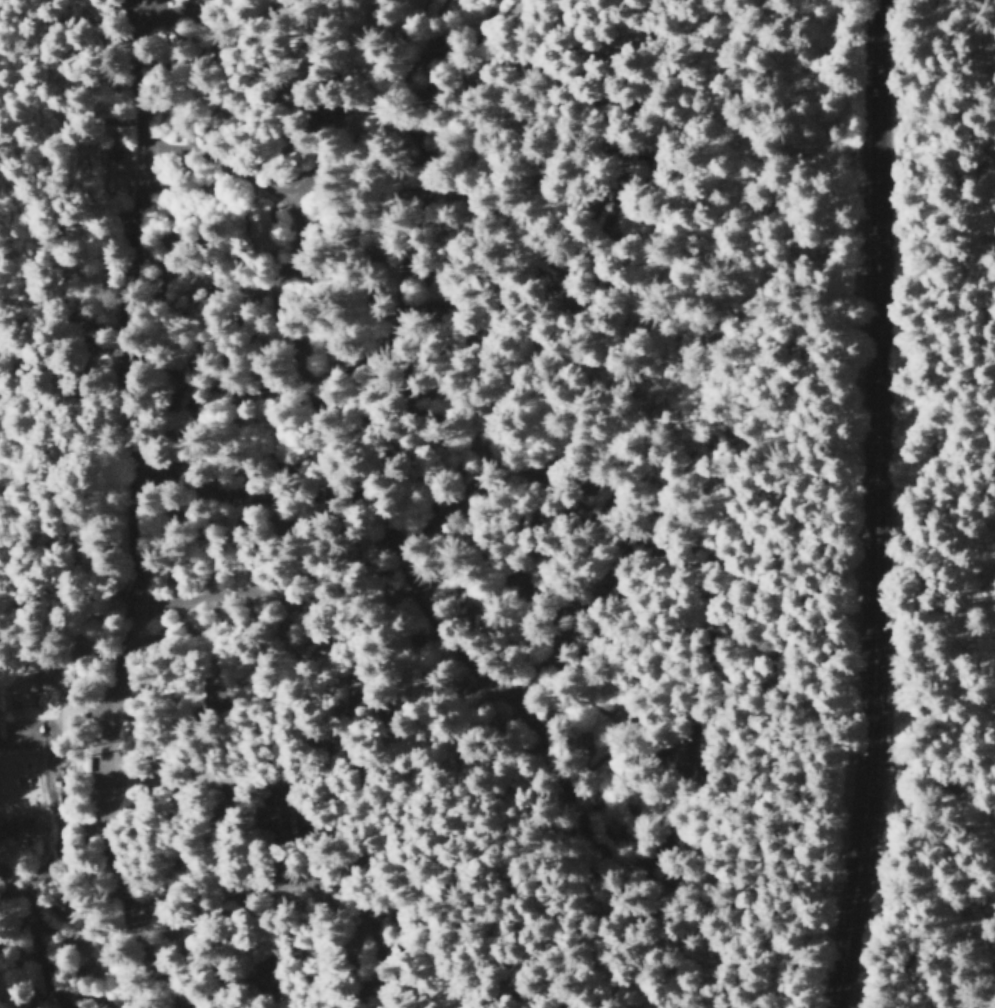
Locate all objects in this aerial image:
parking lot: (195, 1)
road: (222, 1)
road: (190, 18)
road: (389, 18)
road: (487, 23)
road: (276, 58)
road: (356, 92)
building: (108, 152)
road: (344, 160)
road: (249, 168)
road: (435, 186)
road: (589, 192)
parking lot: (140, 224)
building: (258, 225)
road: (143, 248)
road: (377, 259)
road: (244, 283)
road: (257, 392)
road: (380, 457)
road: (868, 505)
road: (347, 512)
parking lot: (368, 549)
road: (555, 612)
road: (700, 642)
building: (38, 692)
road: (317, 693)
parking lot: (50, 722)
road: (63, 733)
road: (129, 760)
building: (12, 831)
road: (33, 870)
road: (291, 883)

